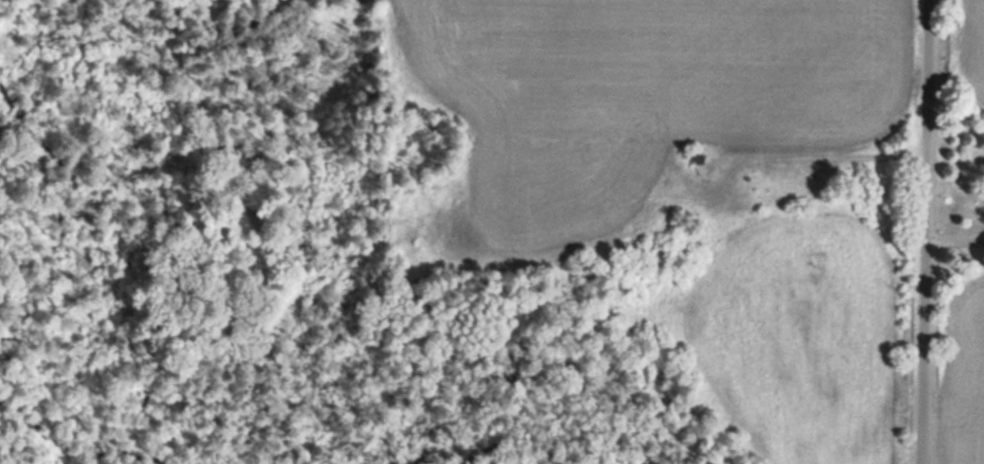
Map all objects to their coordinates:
road: (927, 231)

